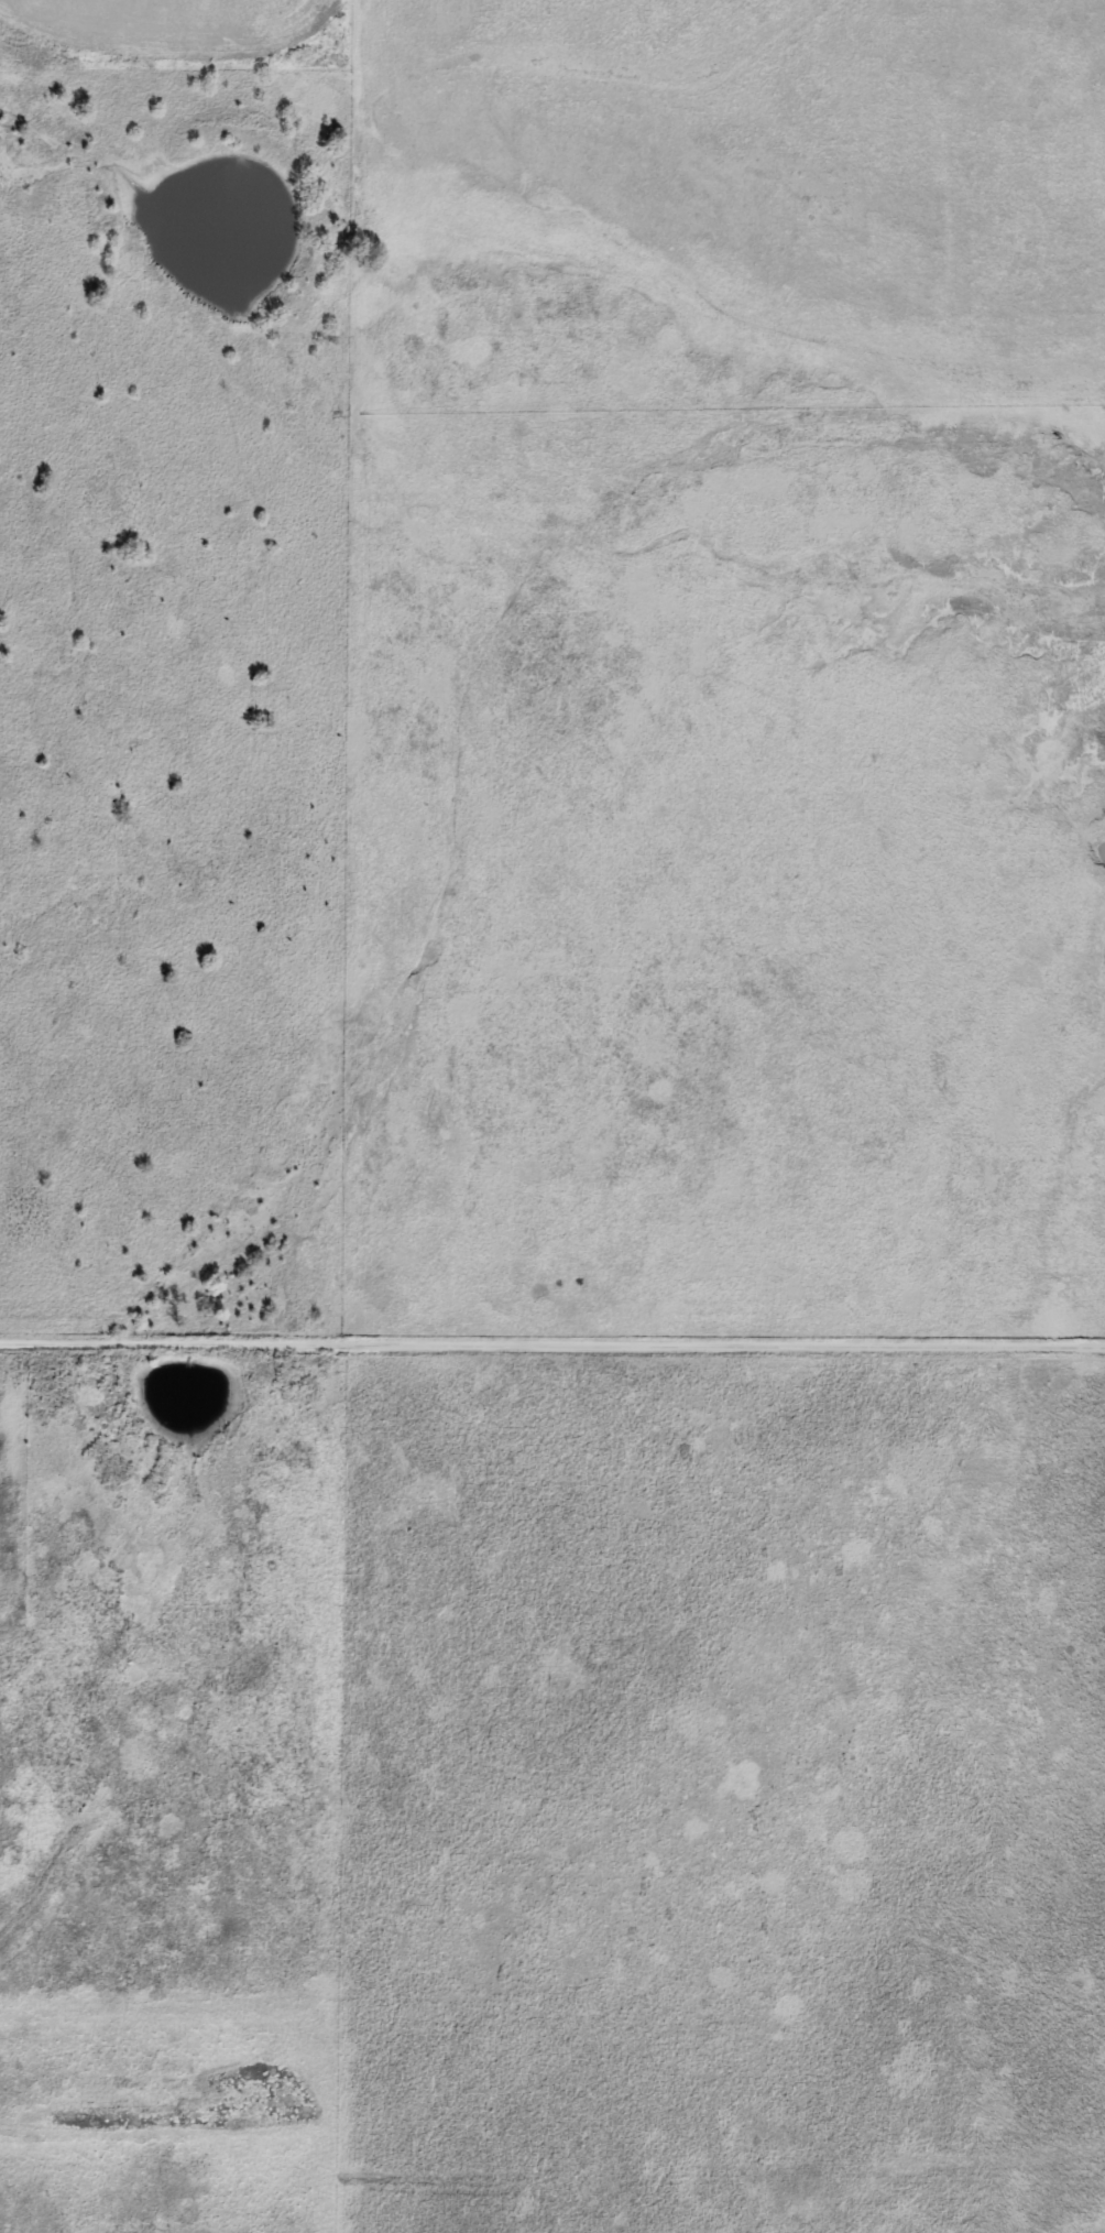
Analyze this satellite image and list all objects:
road: (551, 1346)

